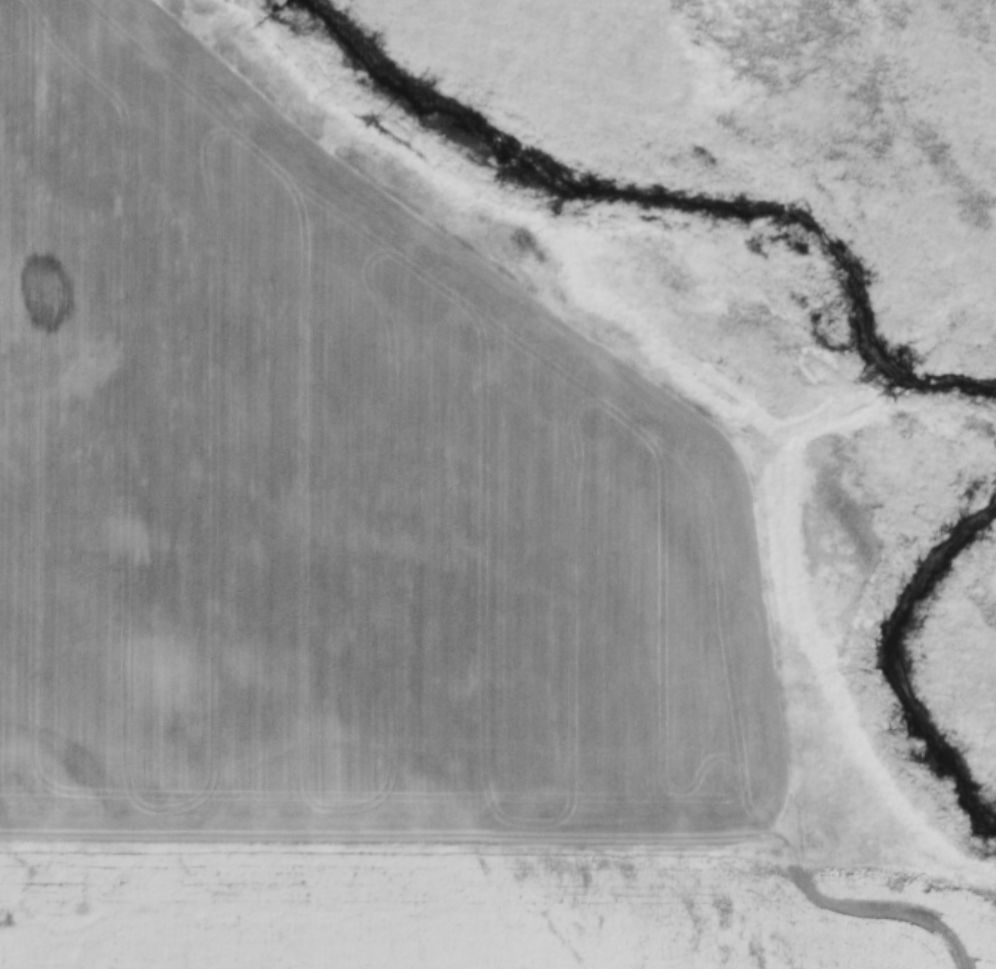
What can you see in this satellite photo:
river: (657, 188)
river: (892, 654)

